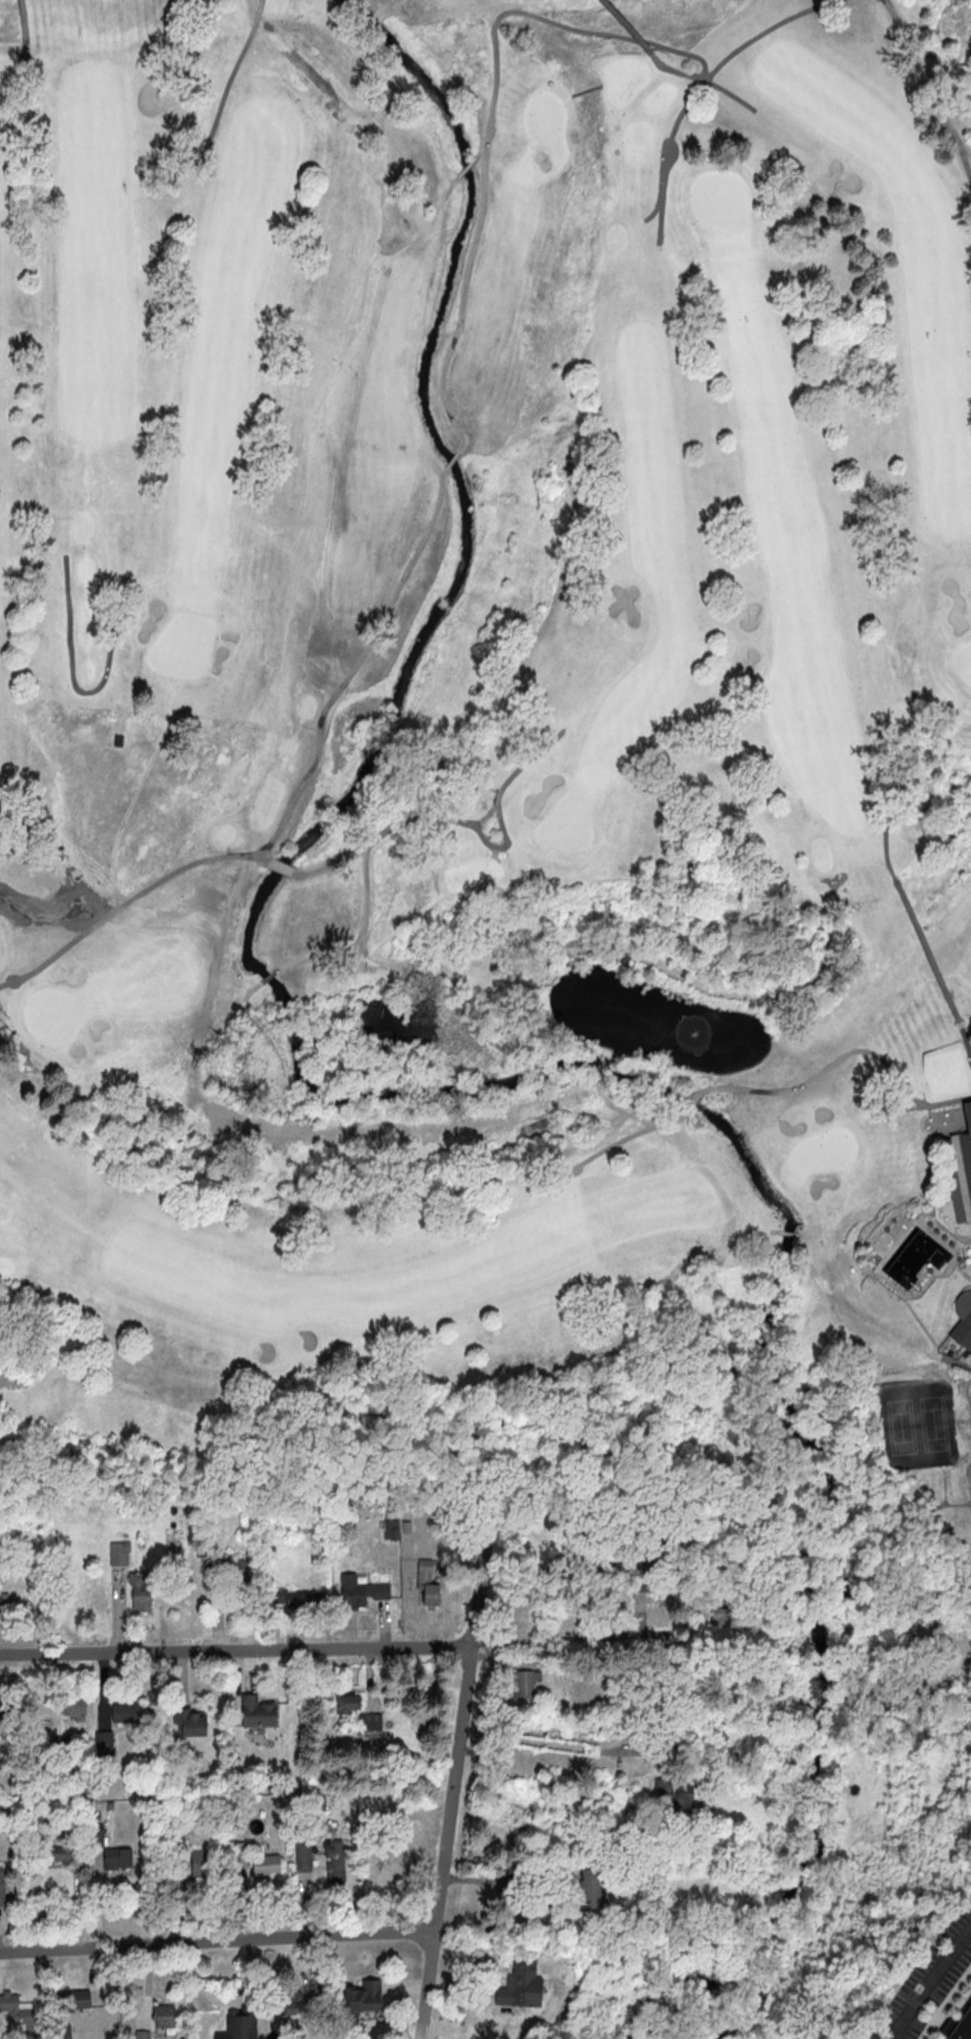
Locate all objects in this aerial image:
park: (491, 755)
river: (443, 1097)
building: (965, 1156)
building: (963, 1320)
park: (916, 1425)
park: (969, 1478)
building: (120, 1552)
road: (559, 1569)
building: (233, 1570)
building: (2, 1574)
building: (428, 1582)
building: (350, 1588)
building: (140, 1591)
building: (5, 1603)
road: (552, 1637)
road: (236, 1650)
building: (524, 1686)
building: (75, 1708)
building: (357, 1710)
building: (258, 1711)
building: (126, 1712)
building: (192, 1722)
building: (42, 1730)
building: (104, 1738)
road: (547, 1742)
building: (676, 1797)
road: (452, 1798)
building: (239, 1854)
building: (57, 1855)
building: (304, 1856)
building: (117, 1859)
building: (336, 1861)
building: (202, 1863)
building: (266, 1865)
building: (2, 1885)
building: (591, 1890)
road: (514, 1896)
road: (216, 1940)
road: (928, 1980)
building: (521, 1984)
building: (362, 1998)
building: (76, 1999)
building: (288, 2002)
building: (18, 2011)
building: (164, 2015)
building: (240, 2024)
building: (962, 2026)
building: (142, 2035)

